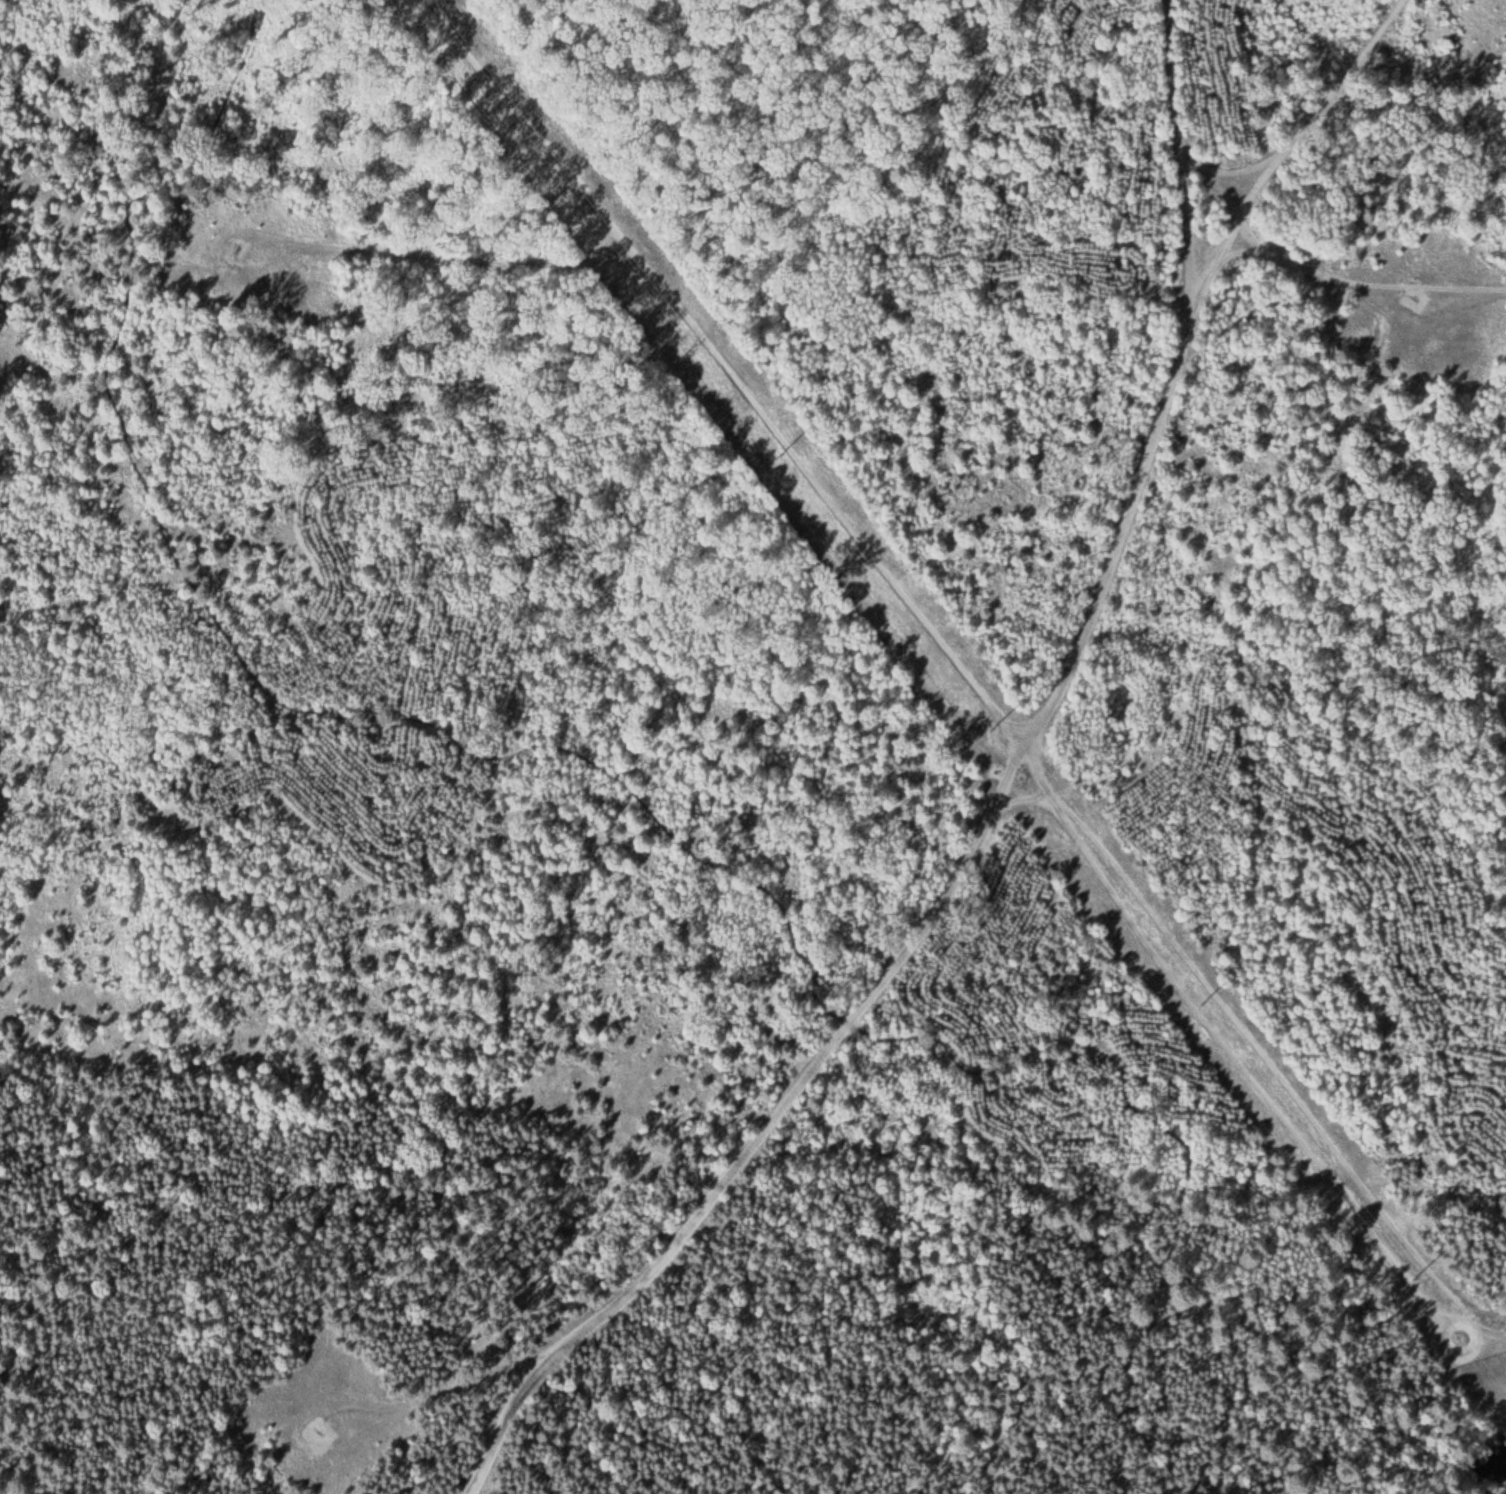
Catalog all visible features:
road: (1303, 116)
road: (430, 261)
road: (1365, 284)
petroleum well: (1417, 302)
road: (973, 673)
road: (603, 767)
road: (988, 807)
petroleum well: (324, 1429)
building: (330, 1429)

